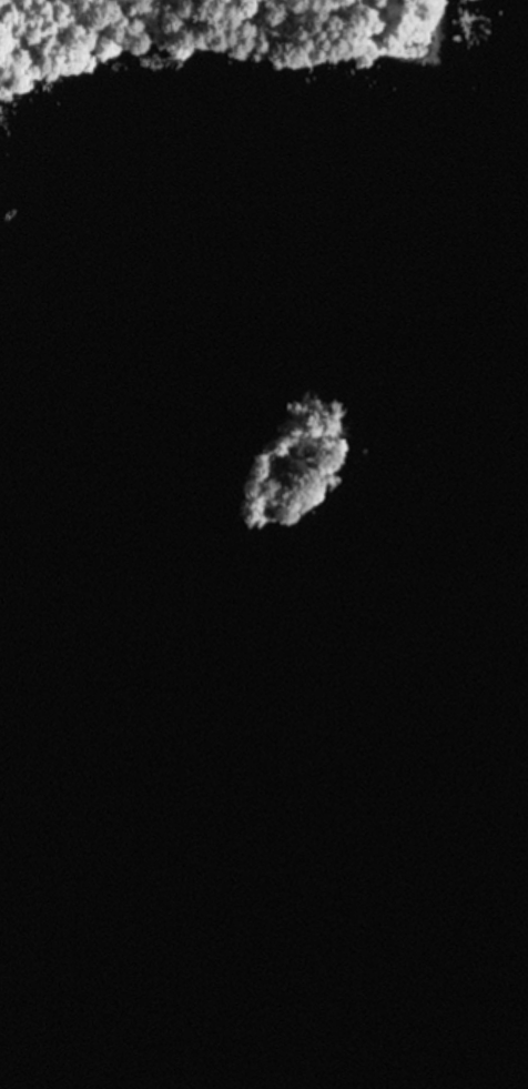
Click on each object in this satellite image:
river: (264, 1036)

